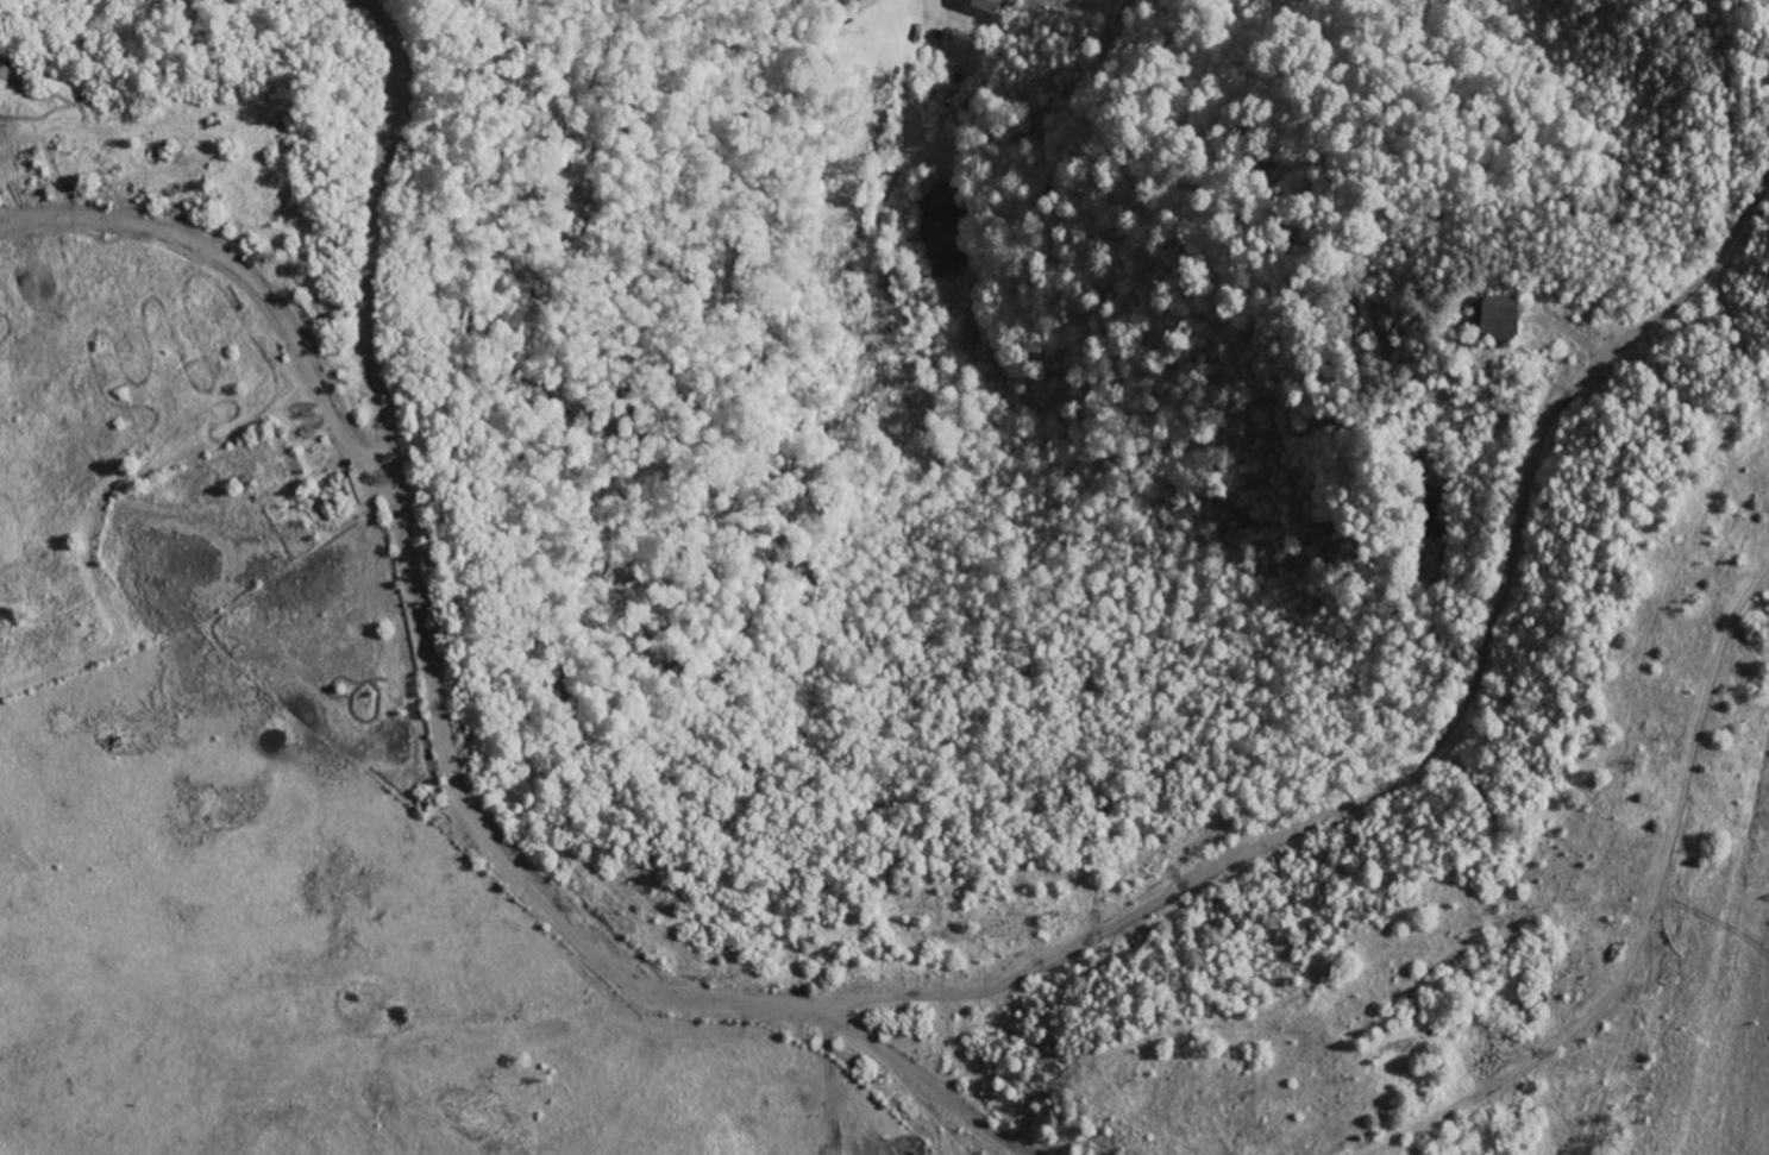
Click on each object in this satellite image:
building: (987, 7)
building: (1501, 318)

